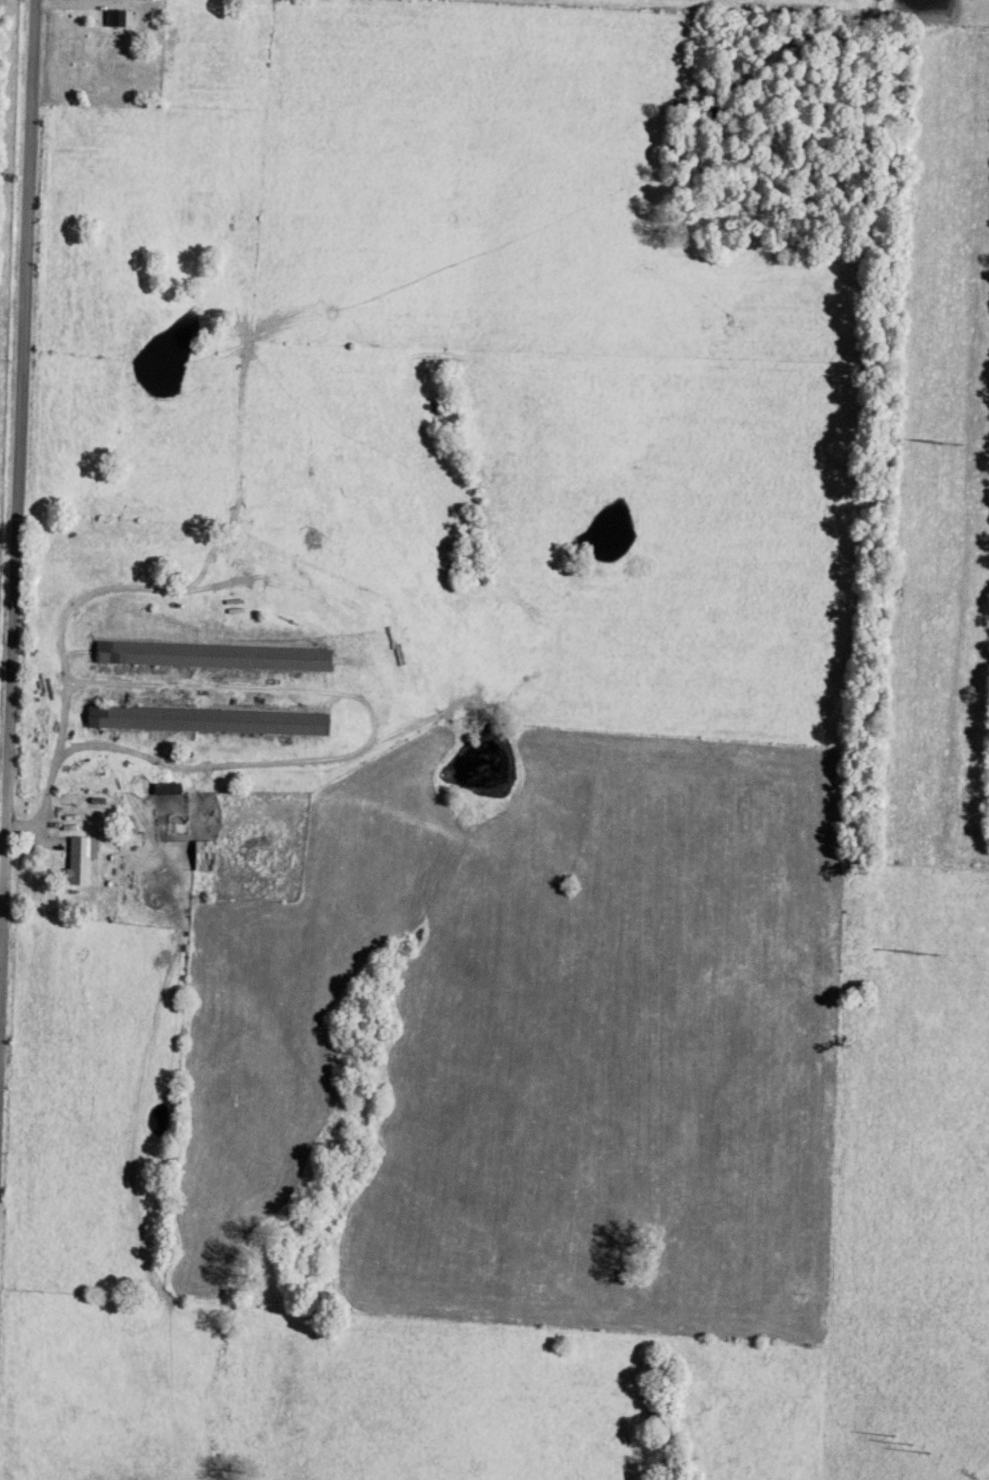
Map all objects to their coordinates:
building: (113, 16)
power tower: (940, 444)
road: (17, 505)
building: (210, 659)
building: (205, 724)
road: (54, 756)
building: (201, 859)
building: (79, 862)
power tower: (916, 959)
power tower: (892, 1440)

